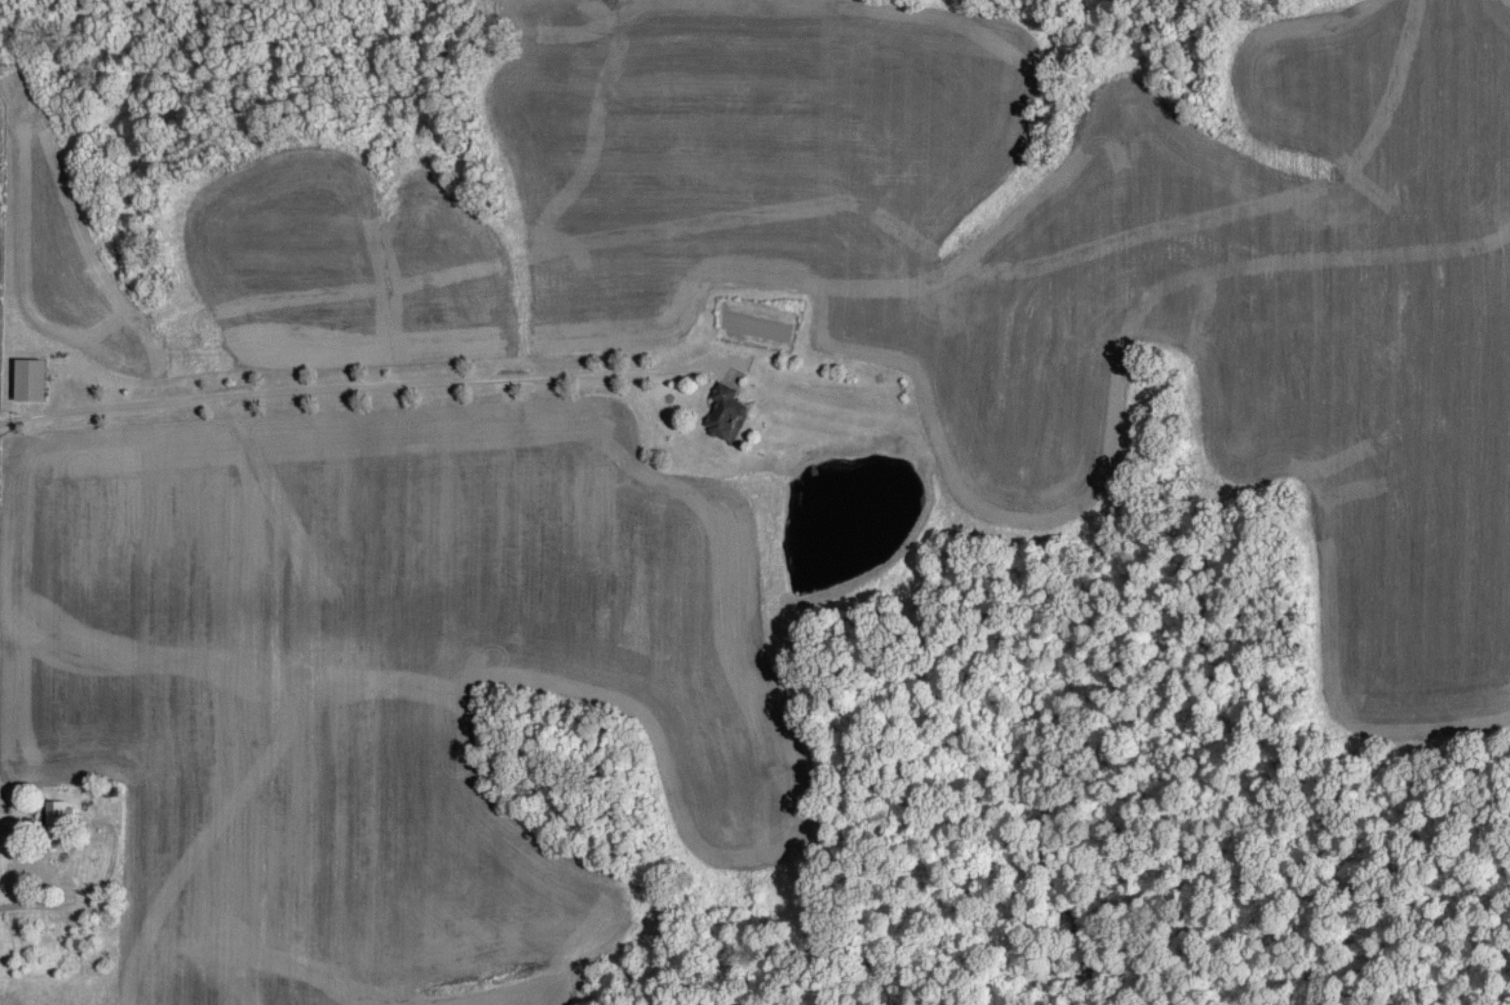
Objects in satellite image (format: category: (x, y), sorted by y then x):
building: (26, 379)
building: (722, 410)
building: (59, 809)

